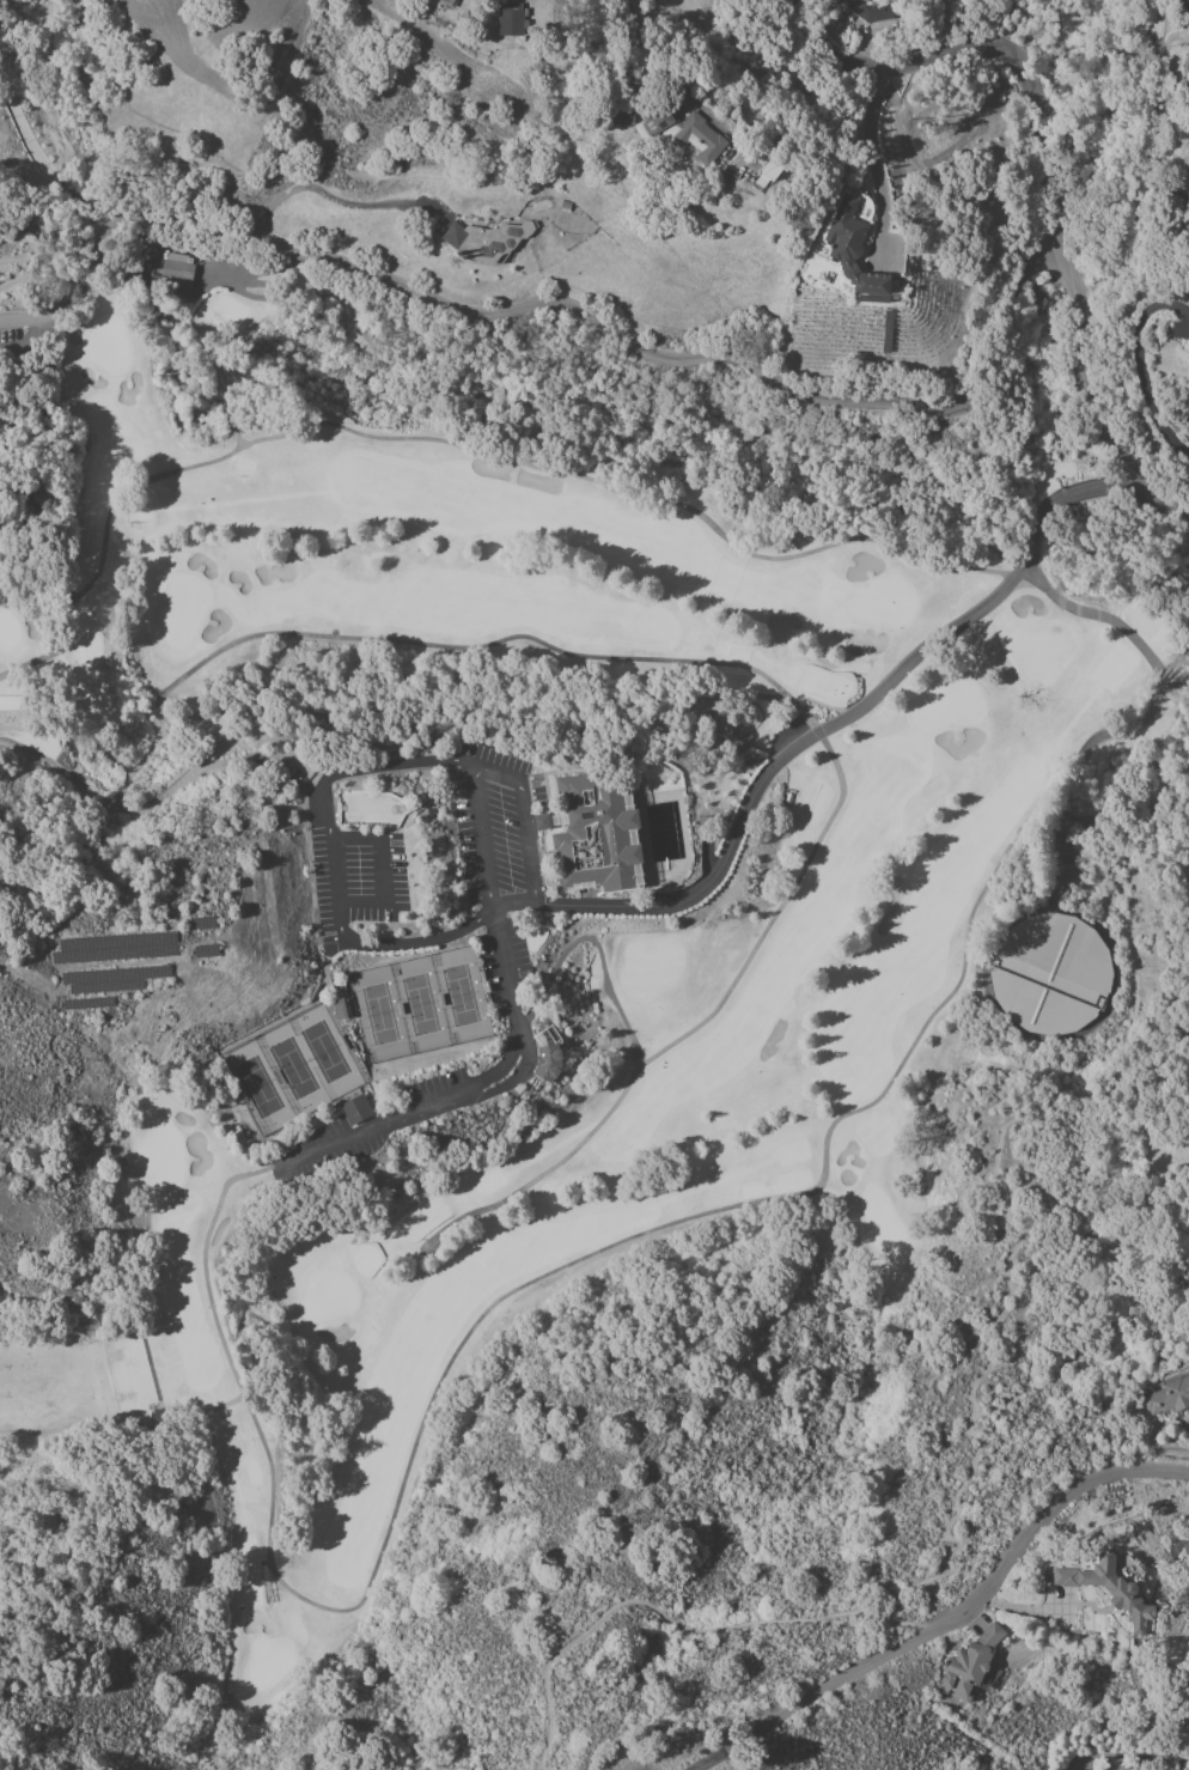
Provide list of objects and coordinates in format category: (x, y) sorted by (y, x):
building: (447, 2)
building: (1184, 6)
road: (623, 8)
building: (871, 10)
building: (508, 18)
road: (982, 48)
building: (617, 120)
building: (685, 133)
road: (870, 157)
road: (43, 165)
building: (767, 176)
road: (330, 196)
building: (565, 205)
building: (486, 239)
building: (852, 249)
road: (30, 268)
building: (176, 269)
road: (29, 318)
road: (579, 320)
road: (25, 341)
parking lot: (26, 341)
road: (1139, 366)
road: (1095, 399)
road: (821, 728)
building: (731, 729)
road: (380, 767)
road: (487, 772)
building: (541, 822)
building: (591, 835)
road: (379, 869)
parking lot: (498, 869)
road: (336, 880)
parking lot: (358, 881)
road: (420, 943)
road: (502, 963)
building: (1051, 974)
park: (416, 1002)
park: (787, 1014)
road: (506, 1060)
park: (289, 1068)
parking lot: (434, 1084)
road: (439, 1105)
building: (355, 1109)
road: (394, 1119)
road: (339, 1148)
parking lot: (327, 1150)
road: (1008, 1222)
building: (1167, 1397)
road: (1041, 1519)
building: (1110, 1590)
road: (679, 1623)
road: (903, 1646)
road: (782, 1711)

